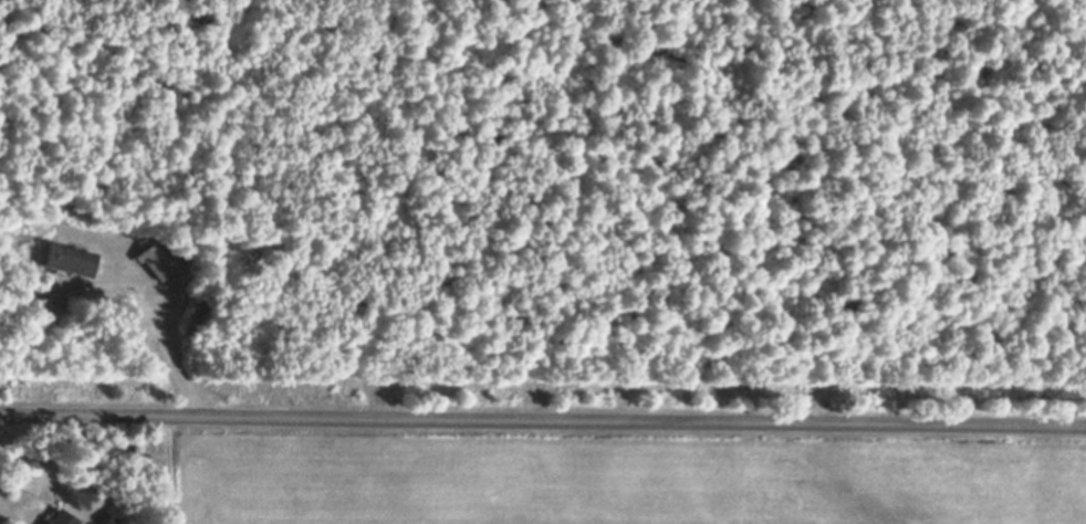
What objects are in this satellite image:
building: (69, 269)
building: (156, 270)
road: (543, 420)
building: (60, 521)

